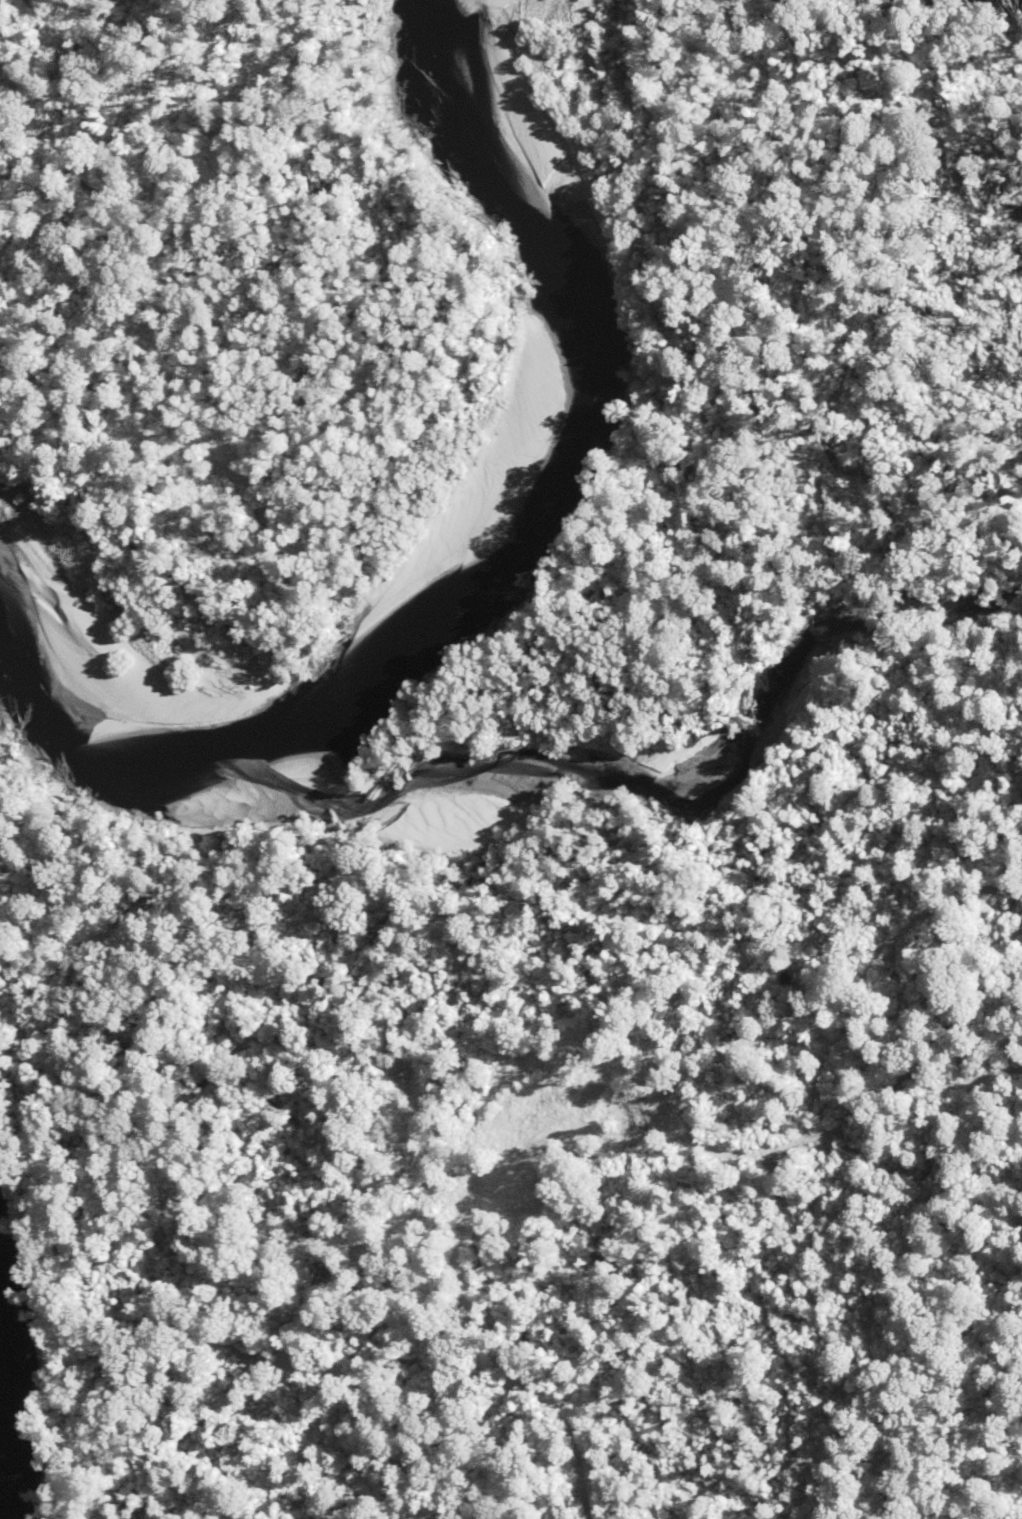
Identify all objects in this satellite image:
river: (413, 555)

